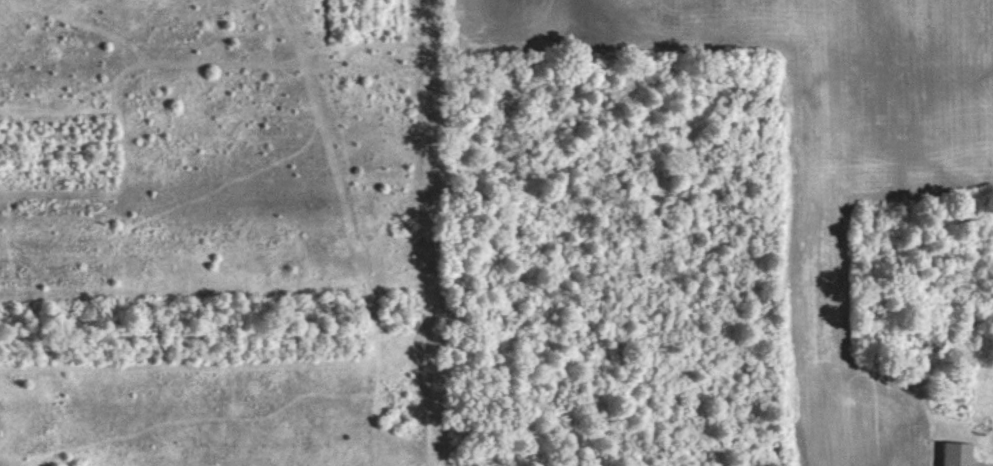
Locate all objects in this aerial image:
building: (958, 454)

